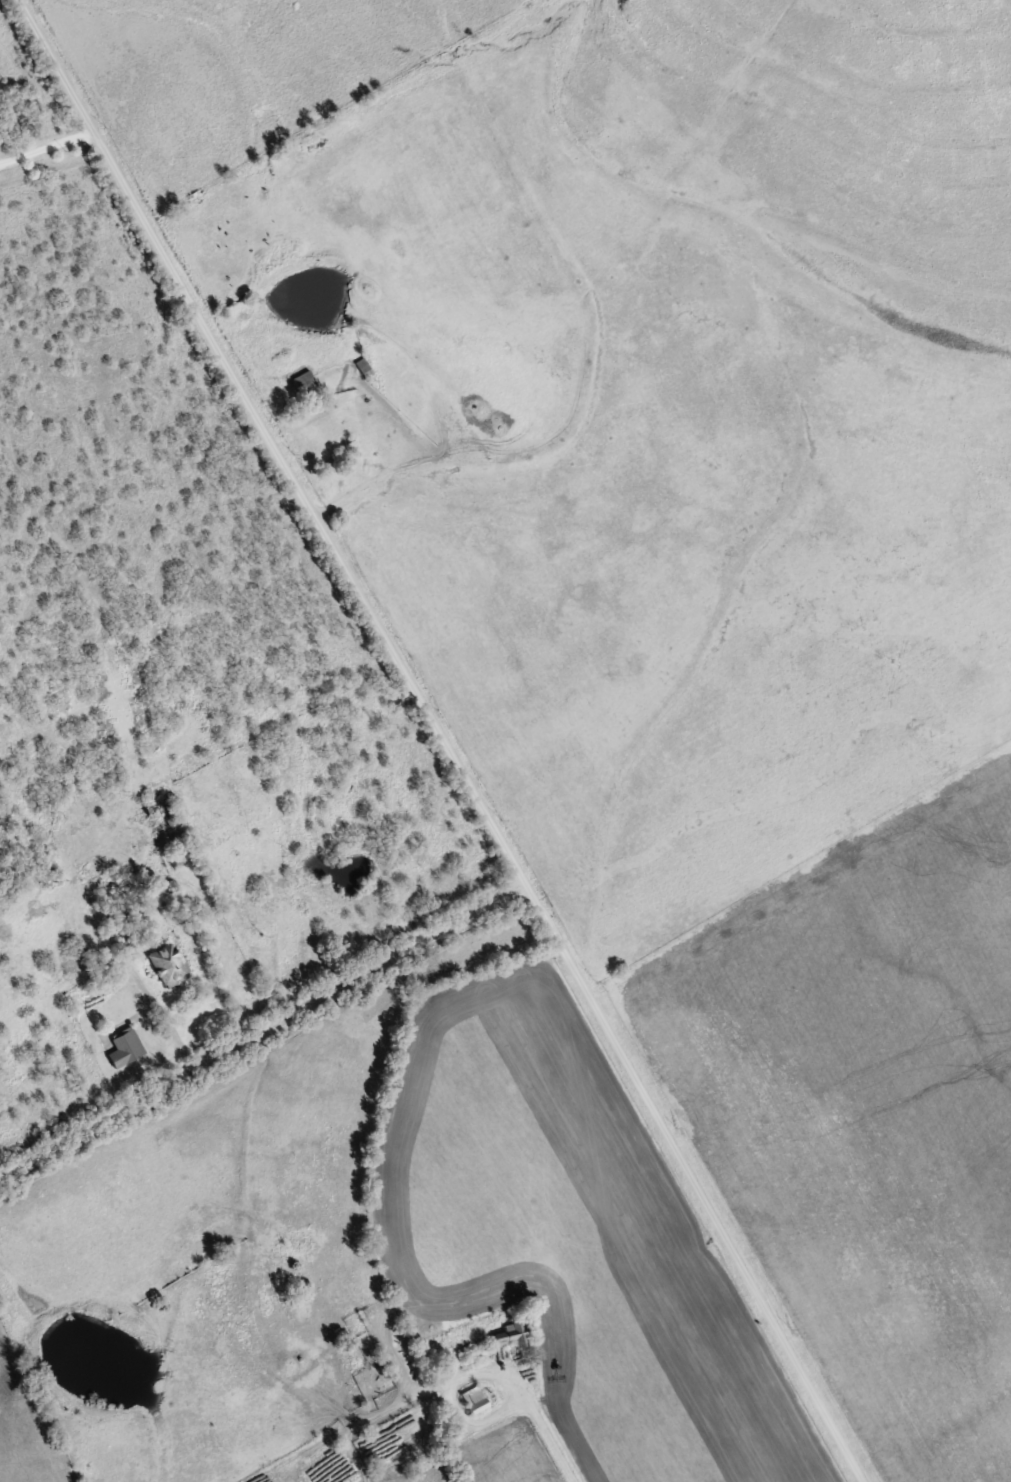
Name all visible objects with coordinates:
road: (48, 146)
building: (305, 380)
road: (272, 444)
road: (347, 496)
building: (175, 821)
road: (312, 1000)
building: (128, 1048)
road: (695, 1184)
building: (510, 1333)
building: (477, 1399)
road: (542, 1420)

